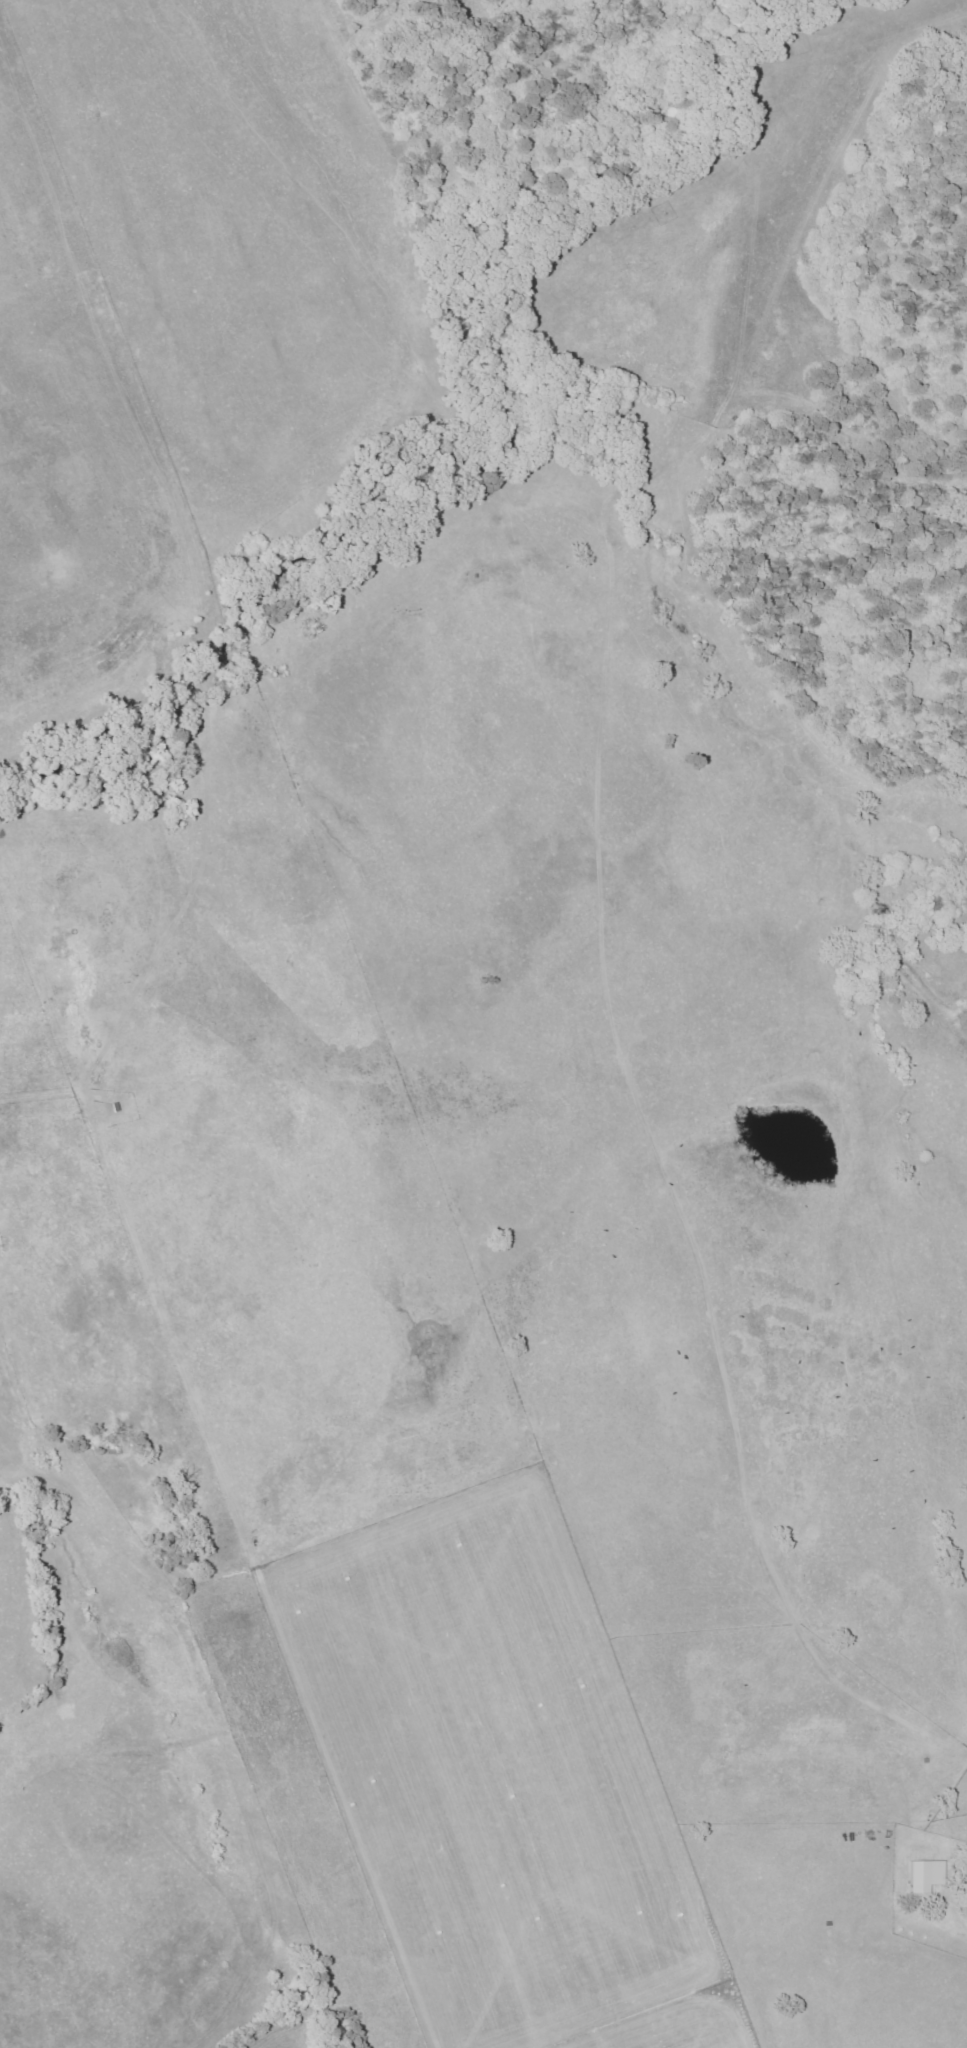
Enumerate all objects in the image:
building: (925, 1875)

